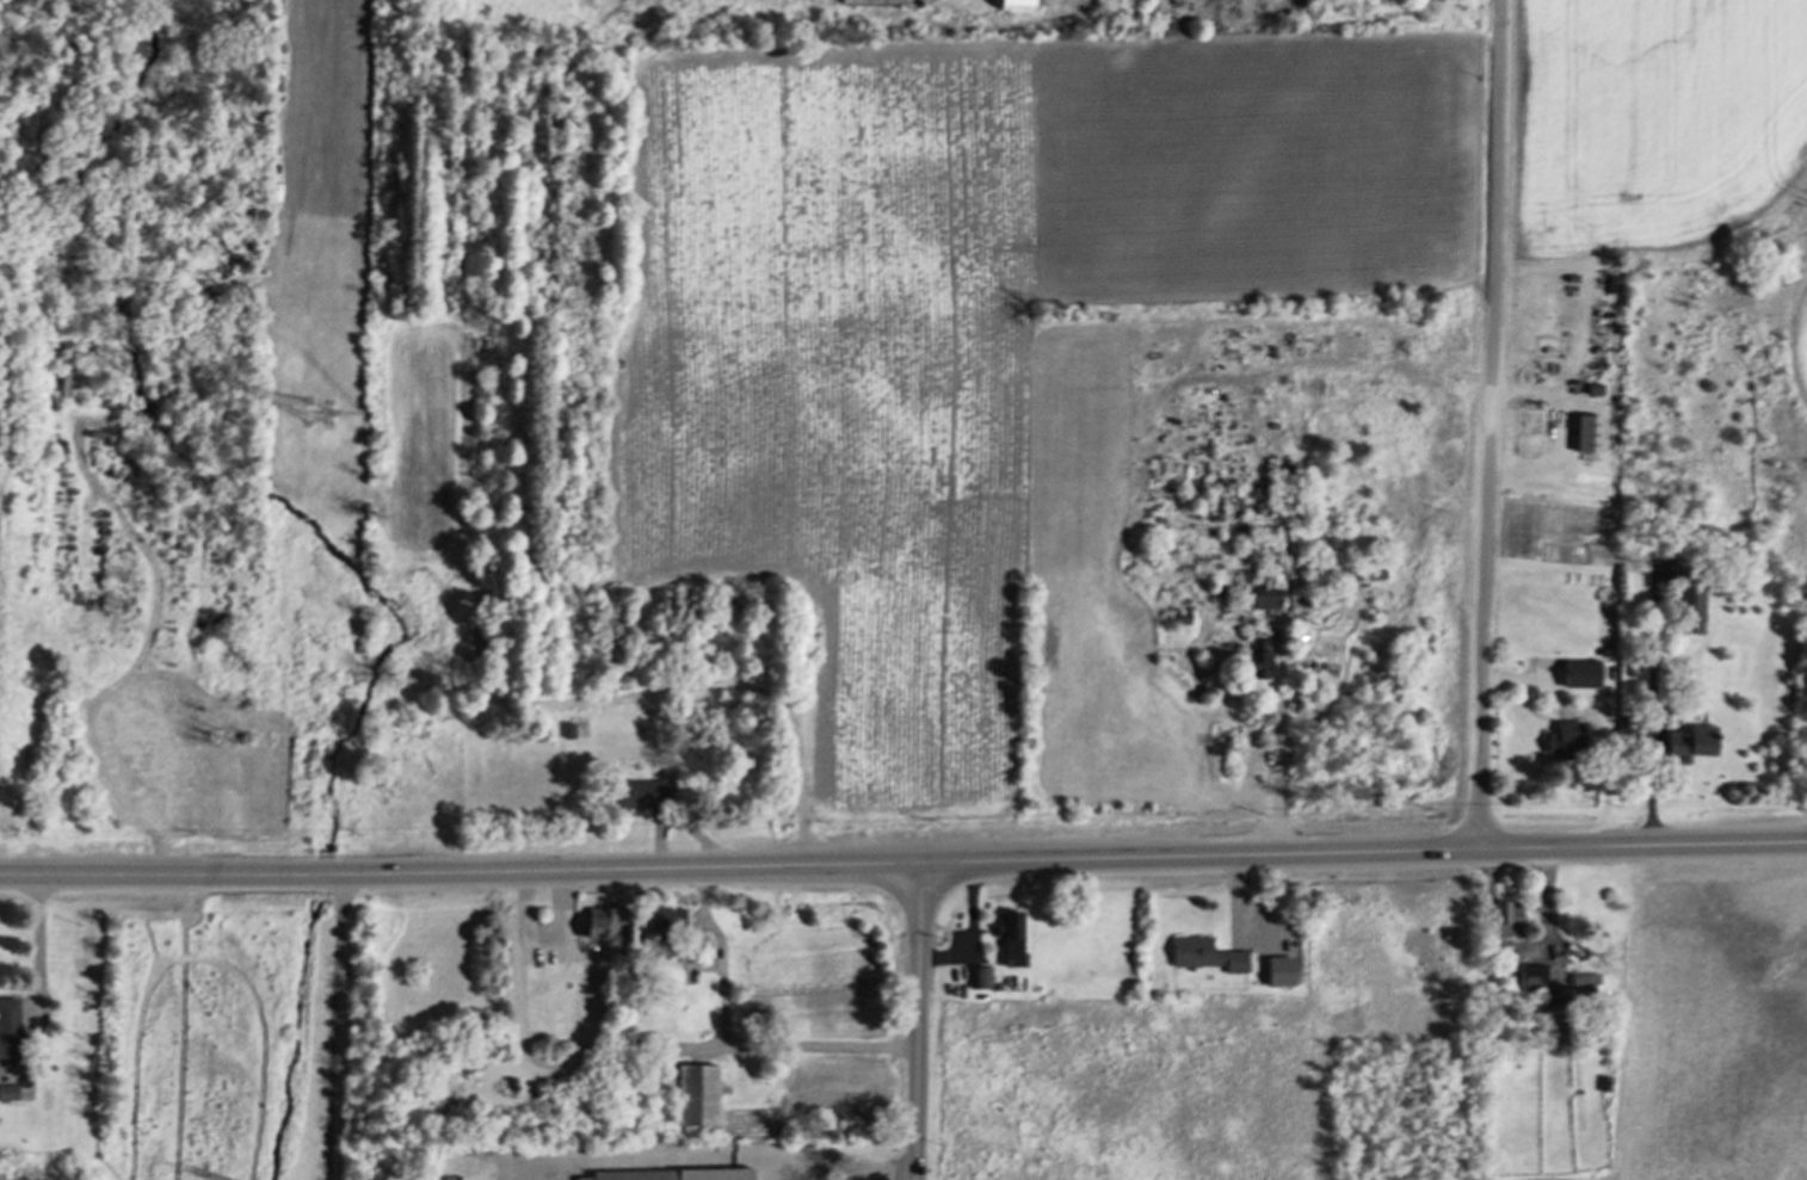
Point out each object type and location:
building: (1016, 5)
crop: (1657, 130)
crop: (968, 315)
power tower: (321, 415)
road: (1490, 424)
building: (1587, 433)
building: (1265, 595)
building: (1688, 605)
building: (1179, 617)
building: (1257, 659)
building: (1580, 673)
road: (1652, 719)
building: (567, 729)
building: (1565, 740)
building: (1689, 742)
road: (1273, 771)
building: (639, 792)
road: (1069, 858)
road: (316, 869)
road: (149, 870)
road: (512, 901)
building: (662, 918)
building: (1506, 918)
road: (565, 919)
building: (602, 920)
building: (1010, 935)
road: (38, 940)
building: (1204, 953)
building: (1278, 970)
building: (1531, 976)
building: (980, 977)
building: (1585, 982)
road: (523, 1007)
road: (918, 1020)
building: (1550, 1021)
road: (335, 1024)
building: (8, 1031)
crop: (1712, 1032)
road: (730, 1043)
building: (7, 1091)
building: (697, 1094)
road: (839, 1163)
building: (672, 1174)

